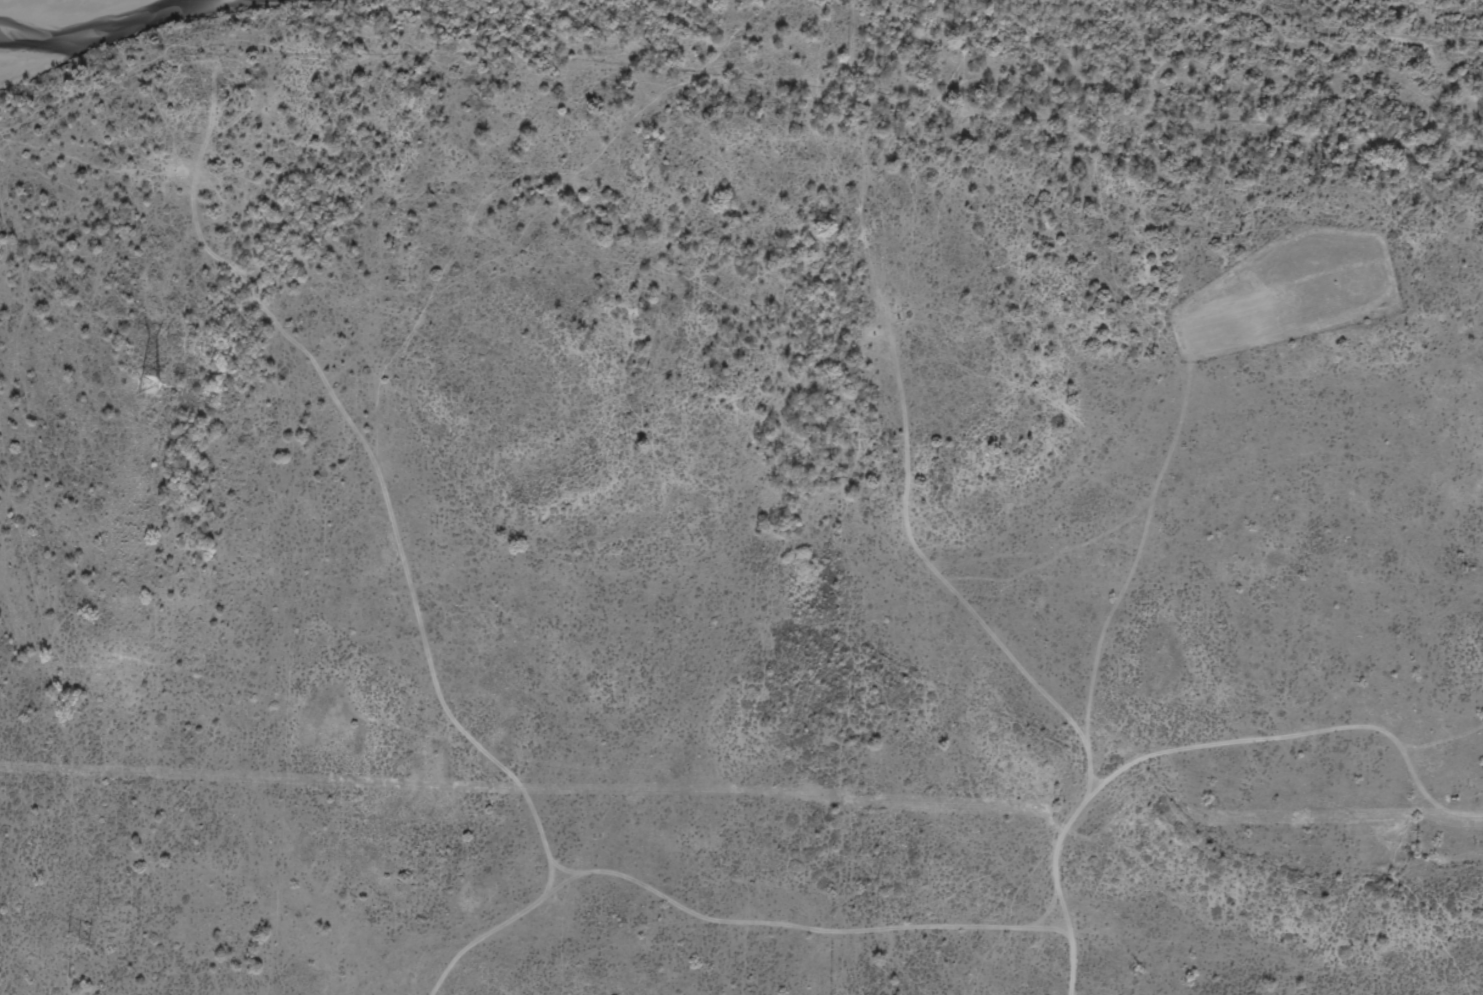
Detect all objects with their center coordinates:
river: (111, 44)
power tower: (150, 388)
road: (427, 559)
road: (1131, 792)
power tower: (78, 941)

